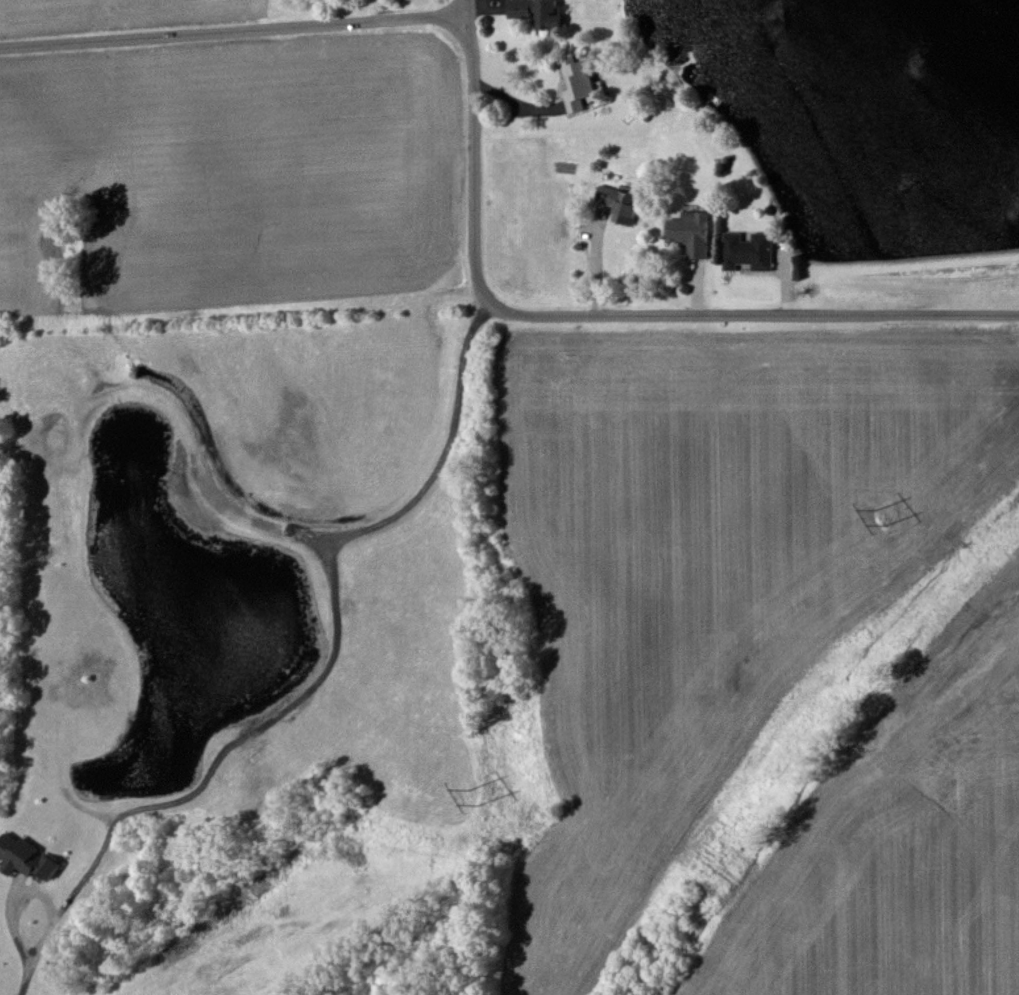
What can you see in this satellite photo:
building: (532, 13)
road: (236, 29)
building: (574, 83)
road: (474, 136)
building: (616, 203)
building: (687, 232)
building: (746, 251)
road: (599, 260)
road: (736, 311)
power tower: (876, 520)
road: (316, 681)
power tower: (474, 799)
building: (22, 857)

